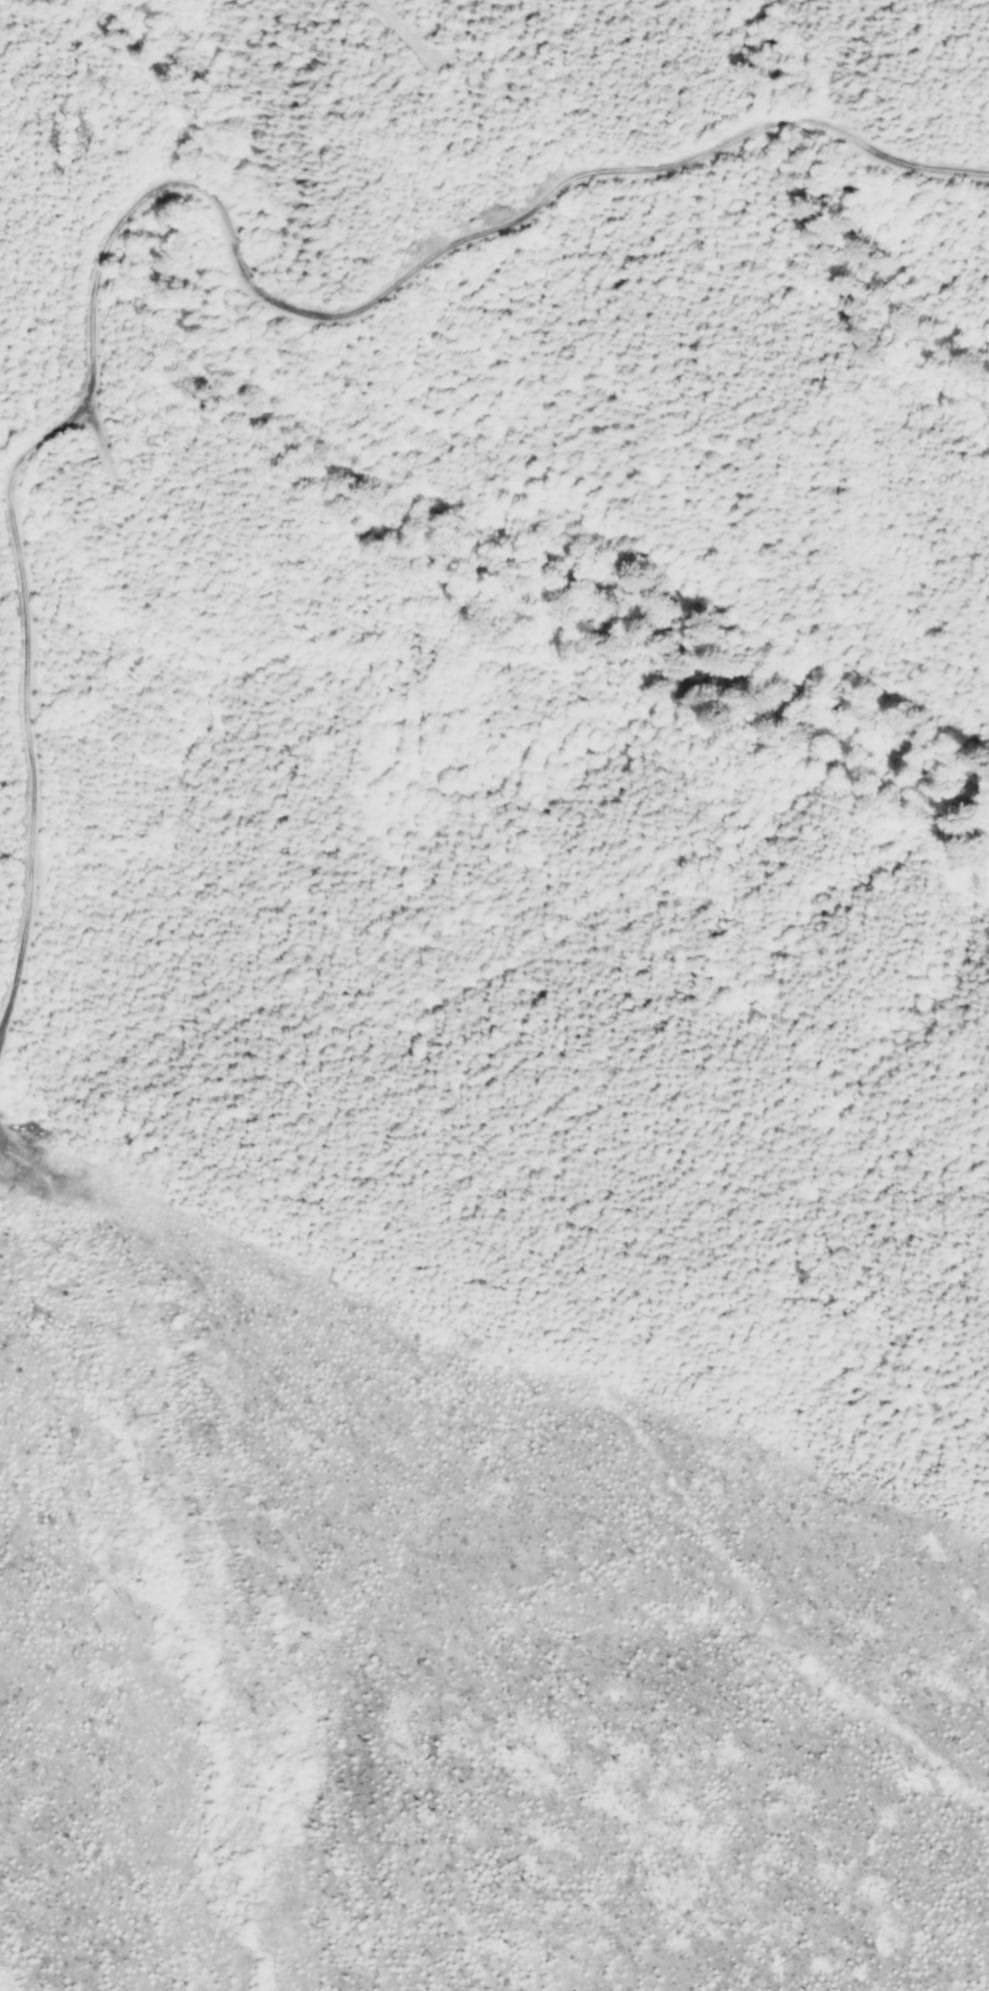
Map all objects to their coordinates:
road: (132, 126)

